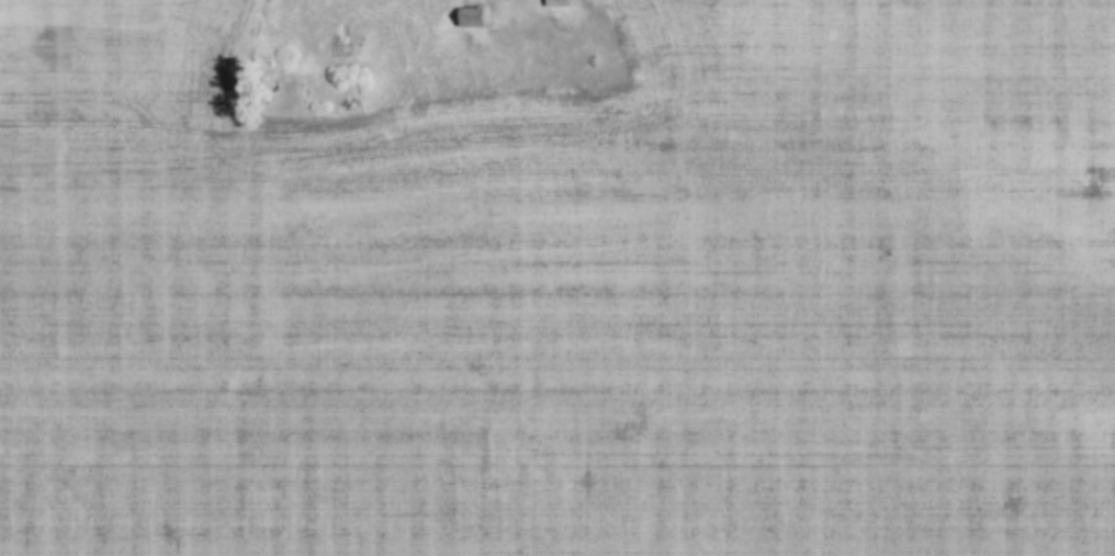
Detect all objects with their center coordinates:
building: (564, 3)
building: (475, 18)
road: (562, 102)
road: (1017, 138)

